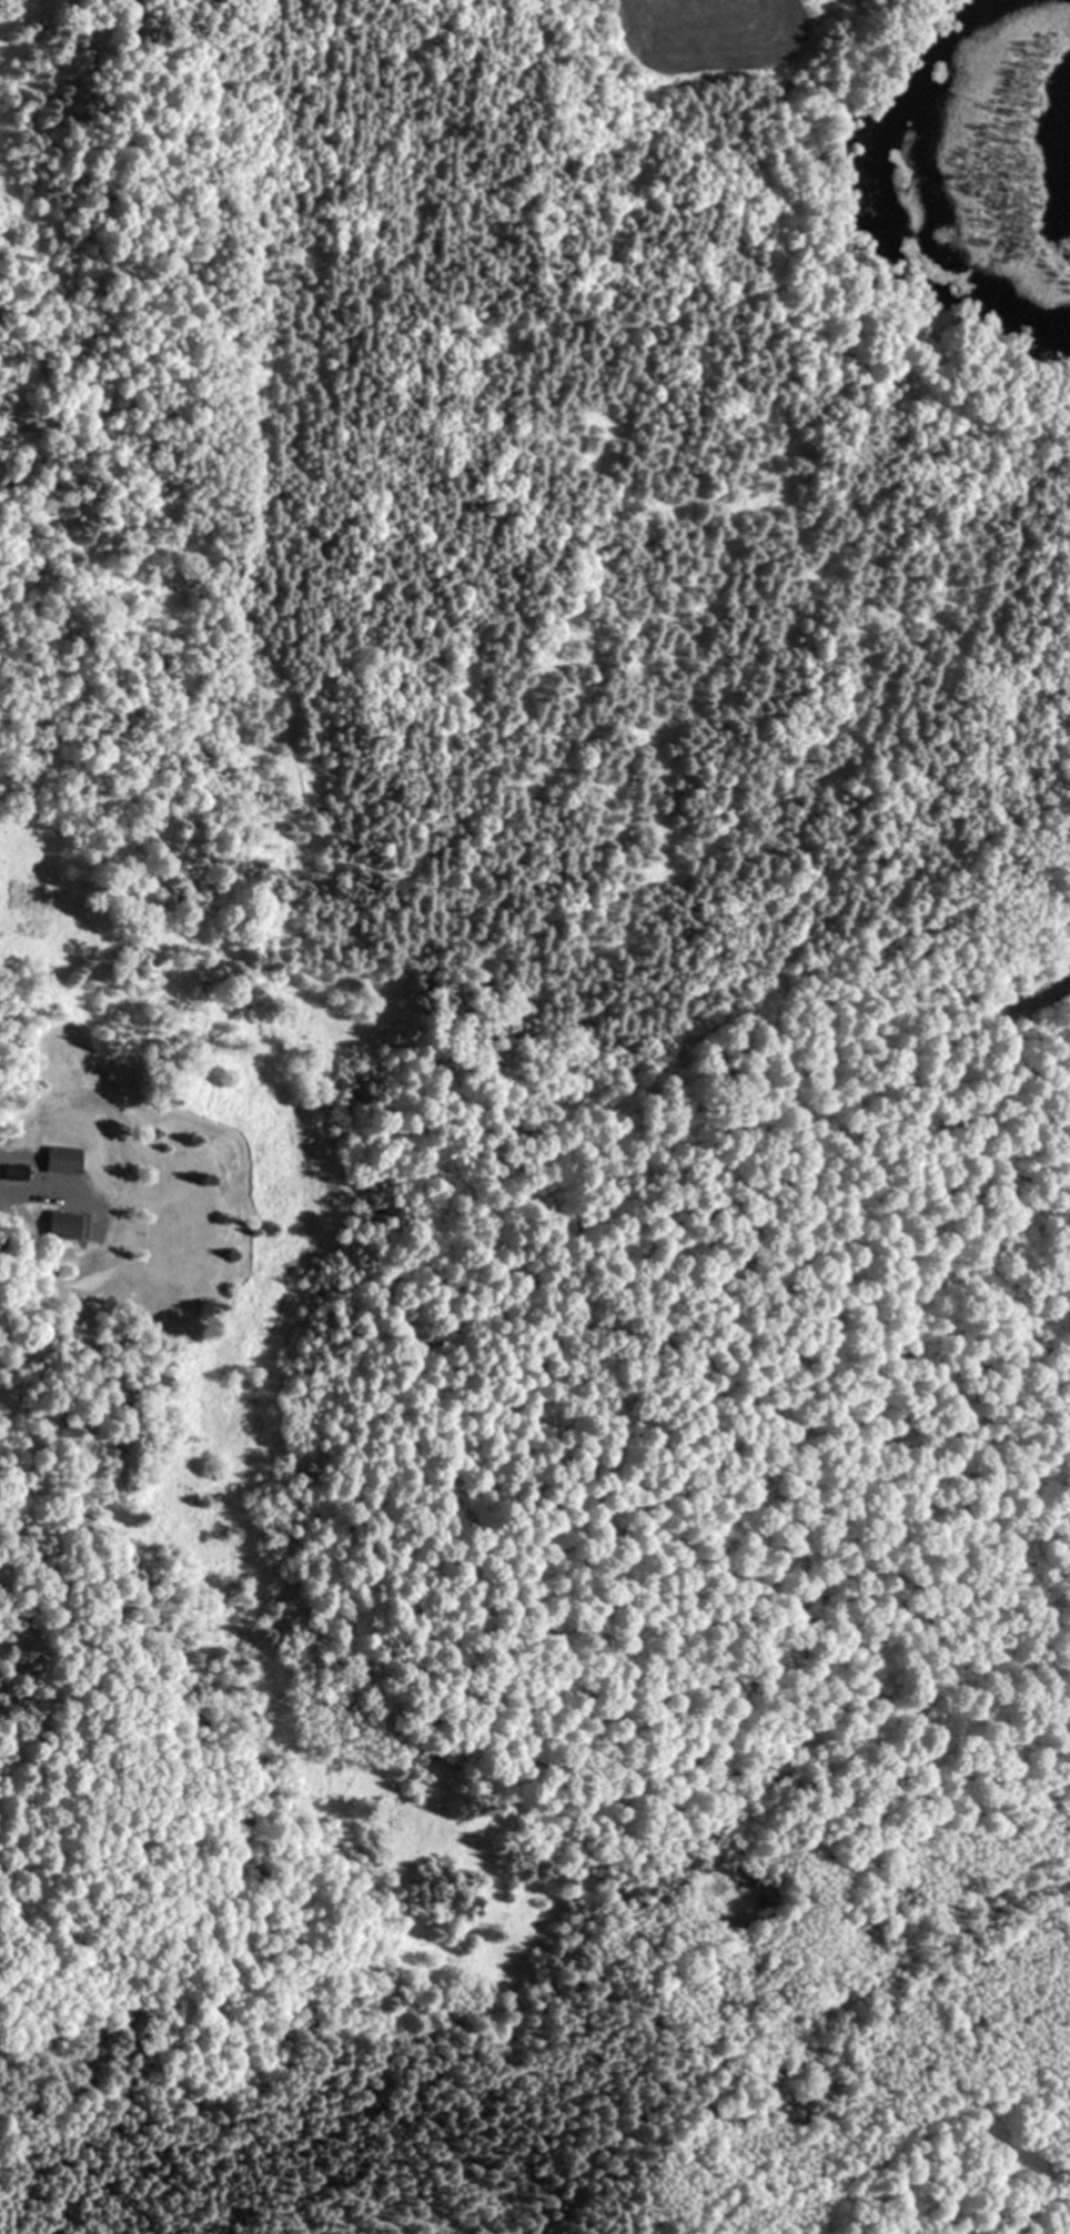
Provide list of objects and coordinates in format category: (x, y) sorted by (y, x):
building: (63, 1158)
building: (17, 1171)
building: (64, 1222)

